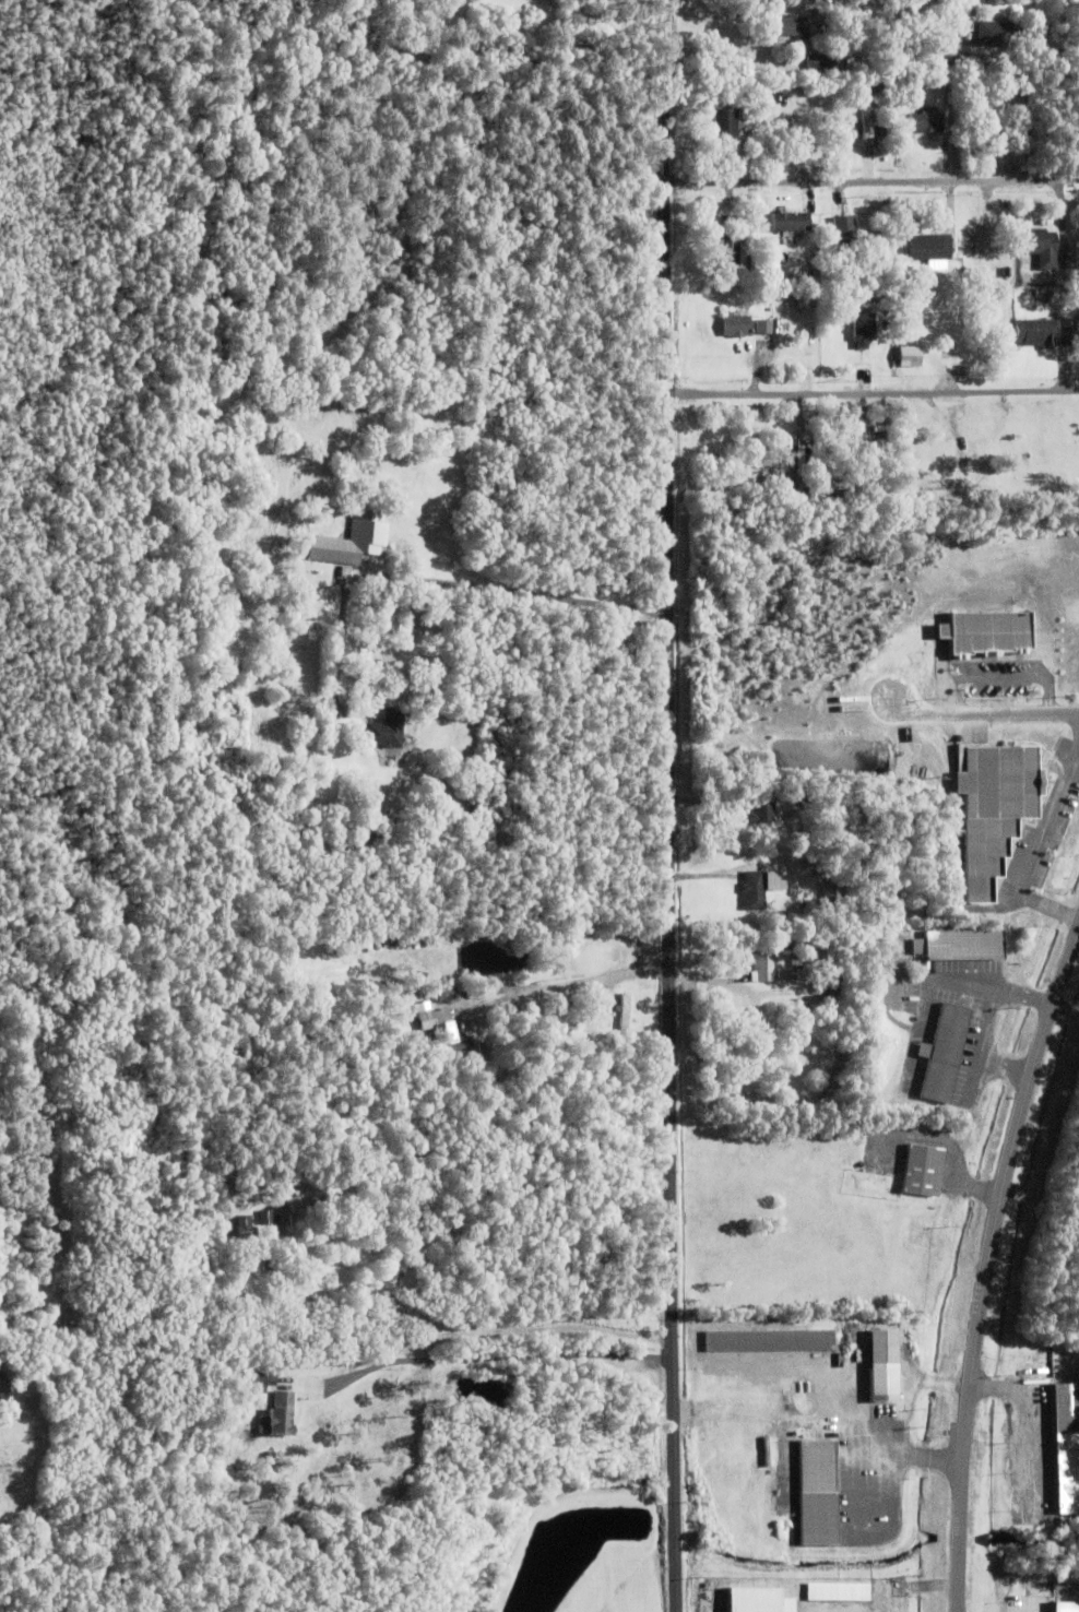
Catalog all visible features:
building: (923, 21)
building: (790, 25)
building: (987, 32)
building: (819, 60)
building: (948, 60)
building: (742, 98)
building: (993, 102)
building: (865, 117)
building: (922, 122)
building: (842, 123)
building: (1029, 123)
building: (725, 125)
building: (884, 130)
building: (739, 152)
road: (873, 182)
building: (791, 221)
building: (845, 232)
building: (886, 234)
building: (879, 235)
building: (817, 238)
building: (1039, 246)
building: (929, 247)
building: (733, 249)
building: (956, 256)
building: (774, 274)
building: (790, 281)
building: (884, 301)
building: (909, 313)
building: (736, 325)
building: (760, 325)
building: (1067, 331)
building: (1034, 332)
building: (852, 333)
building: (910, 356)
road: (874, 393)
building: (790, 472)
building: (818, 487)
building: (844, 494)
building: (352, 538)
road: (448, 583)
building: (999, 585)
building: (986, 632)
road: (986, 712)
building: (387, 730)
building: (786, 797)
road: (671, 805)
building: (762, 809)
building: (994, 809)
building: (319, 820)
road: (1039, 835)
building: (805, 864)
building: (754, 890)
building: (833, 894)
building: (959, 946)
building: (801, 959)
building: (763, 960)
road: (578, 982)
road: (992, 989)
building: (811, 1004)
building: (624, 1012)
building: (400, 1014)
building: (479, 1026)
building: (439, 1029)
building: (417, 1041)
road: (982, 1046)
building: (934, 1052)
building: (485, 1055)
road: (1007, 1064)
building: (922, 1172)
building: (266, 1218)
building: (242, 1228)
building: (395, 1268)
road: (987, 1272)
building: (278, 1275)
road: (536, 1326)
building: (768, 1341)
building: (1076, 1351)
road: (490, 1360)
road: (809, 1364)
building: (882, 1368)
road: (908, 1376)
building: (266, 1377)
building: (1072, 1378)
building: (7, 1394)
building: (281, 1417)
road: (1030, 1419)
building: (1064, 1449)
road: (851, 1479)
building: (816, 1495)
building: (827, 1593)
building: (790, 1607)
building: (1062, 1608)

